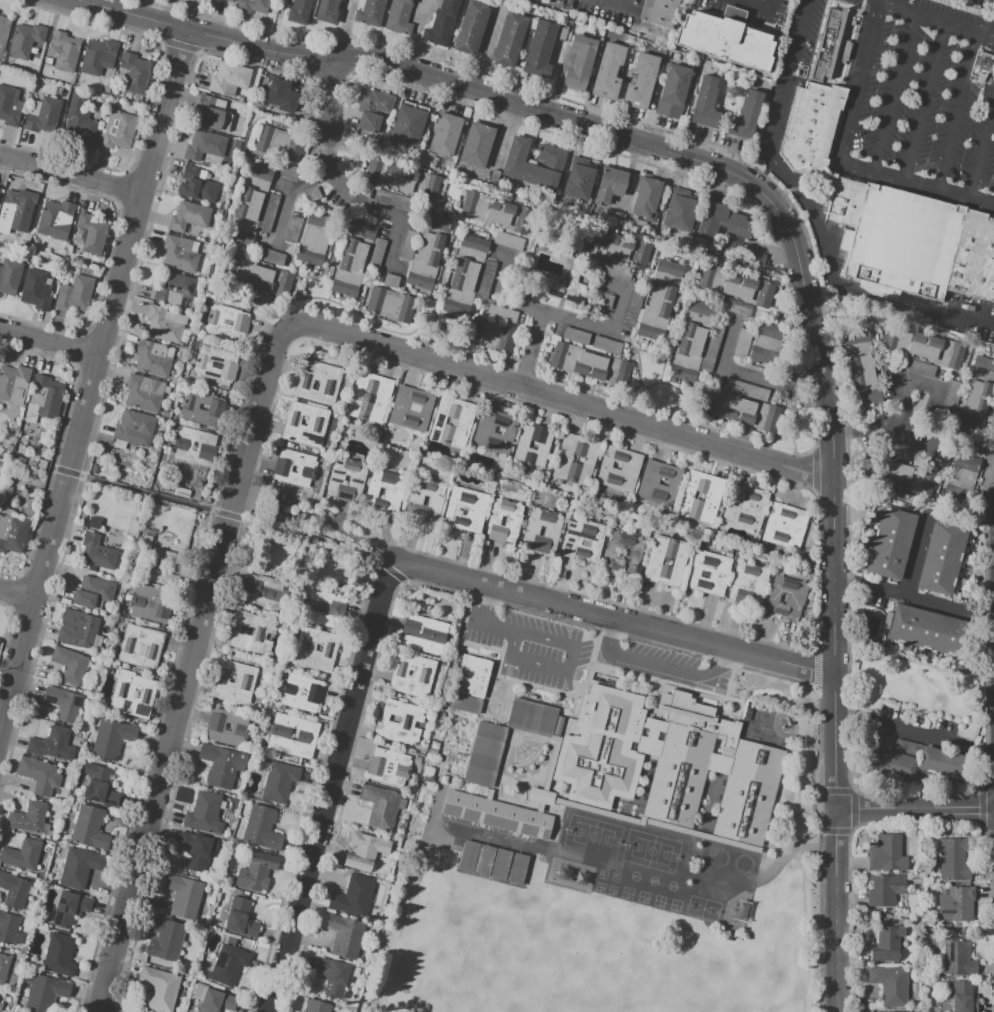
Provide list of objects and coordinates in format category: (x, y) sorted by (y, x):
building: (229, 0)
building: (340, 0)
road: (981, 4)
building: (255, 5)
road: (618, 6)
road: (757, 7)
building: (298, 10)
building: (326, 11)
building: (369, 12)
building: (658, 12)
road: (940, 15)
building: (399, 16)
building: (442, 23)
building: (470, 28)
building: (3, 30)
building: (725, 39)
building: (25, 40)
building: (509, 40)
road: (802, 40)
building: (837, 43)
building: (539, 49)
building: (63, 51)
road: (421, 52)
building: (98, 56)
building: (580, 62)
building: (984, 66)
road: (402, 67)
building: (608, 71)
building: (135, 72)
building: (229, 77)
building: (640, 81)
road: (894, 89)
building: (673, 91)
road: (336, 94)
building: (281, 96)
road: (927, 99)
building: (705, 102)
building: (10, 106)
building: (373, 108)
road: (958, 108)
building: (213, 114)
building: (43, 116)
building: (746, 116)
building: (79, 123)
building: (407, 125)
building: (117, 130)
building: (445, 135)
road: (987, 137)
building: (265, 139)
building: (477, 144)
building: (205, 146)
building: (294, 149)
road: (332, 156)
road: (841, 158)
building: (534, 165)
road: (767, 168)
road: (71, 173)
road: (766, 178)
building: (401, 180)
building: (578, 182)
building: (610, 184)
building: (197, 185)
road: (788, 188)
road: (344, 191)
building: (647, 198)
building: (249, 204)
building: (15, 212)
building: (268, 213)
building: (678, 213)
building: (497, 214)
building: (54, 216)
building: (189, 216)
building: (889, 218)
building: (722, 223)
building: (91, 233)
building: (318, 240)
building: (474, 243)
building: (408, 244)
building: (616, 247)
building: (430, 252)
building: (375, 253)
building: (179, 254)
building: (270, 256)
road: (826, 256)
building: (753, 257)
building: (352, 259)
building: (669, 268)
building: (10, 276)
building: (256, 278)
building: (391, 280)
building: (462, 285)
building: (737, 287)
building: (35, 290)
building: (175, 290)
building: (569, 292)
building: (75, 294)
building: (384, 303)
building: (658, 307)
building: (734, 307)
building: (501, 313)
road: (556, 315)
building: (163, 324)
building: (228, 324)
building: (491, 334)
building: (576, 336)
building: (691, 337)
building: (856, 339)
road: (49, 342)
building: (606, 345)
building: (769, 346)
building: (922, 347)
road: (533, 350)
building: (152, 358)
building: (216, 363)
building: (588, 364)
building: (983, 364)
building: (919, 367)
road: (751, 376)
building: (864, 380)
road: (909, 381)
road: (90, 383)
building: (14, 384)
building: (327, 385)
building: (746, 389)
building: (143, 392)
building: (45, 396)
building: (369, 397)
building: (977, 397)
road: (565, 401)
building: (201, 408)
building: (411, 408)
building: (740, 410)
building: (303, 421)
building: (317, 421)
building: (452, 422)
building: (134, 428)
road: (882, 429)
building: (484, 430)
building: (195, 446)
building: (522, 446)
building: (563, 460)
building: (282, 468)
building: (630, 468)
building: (961, 475)
building: (909, 480)
building: (356, 481)
building: (658, 483)
building: (387, 491)
building: (712, 496)
building: (425, 499)
building: (424, 503)
building: (745, 507)
building: (461, 510)
building: (475, 511)
road: (231, 515)
building: (504, 520)
power tower: (317, 522)
building: (94, 523)
building: (785, 526)
building: (541, 531)
building: (551, 531)
building: (12, 533)
building: (571, 540)
building: (891, 543)
building: (96, 552)
building: (622, 552)
power tower: (307, 559)
building: (942, 559)
building: (665, 561)
building: (159, 566)
building: (718, 574)
road: (835, 575)
building: (738, 585)
road: (893, 591)
road: (17, 592)
building: (92, 592)
building: (261, 592)
building: (786, 596)
building: (151, 604)
building: (323, 609)
road: (615, 618)
road: (477, 622)
building: (77, 628)
building: (927, 630)
building: (252, 633)
building: (423, 634)
building: (139, 646)
parking lot: (526, 646)
building: (315, 650)
building: (69, 664)
road: (565, 664)
road: (193, 667)
road: (656, 668)
building: (422, 675)
building: (233, 682)
building: (471, 684)
building: (301, 692)
building: (131, 694)
building: (290, 694)
building: (63, 703)
building: (531, 717)
building: (400, 721)
road: (891, 726)
building: (239, 727)
building: (292, 735)
building: (111, 738)
building: (52, 744)
building: (434, 745)
building: (432, 752)
building: (485, 754)
road: (851, 754)
building: (891, 758)
building: (415, 759)
building: (667, 763)
building: (938, 763)
building: (221, 765)
building: (387, 766)
building: (429, 771)
building: (39, 775)
building: (278, 781)
building: (99, 785)
road: (333, 787)
building: (379, 806)
road: (915, 806)
building: (204, 813)
building: (496, 814)
building: (29, 818)
building: (89, 828)
building: (261, 828)
building: (195, 850)
building: (365, 851)
building: (886, 853)
building: (22, 855)
building: (737, 860)
building: (953, 860)
building: (79, 867)
building: (256, 871)
building: (884, 889)
building: (13, 890)
building: (183, 896)
building: (352, 896)
building: (956, 904)
building: (69, 908)
building: (241, 918)
building: (8, 927)
building: (344, 935)
building: (166, 940)
building: (887, 944)
building: (58, 955)
building: (957, 957)
building: (228, 964)
building: (5, 969)
building: (334, 975)
building: (889, 984)
building: (160, 988)
building: (46, 993)
building: (963, 997)
building: (1, 998)
building: (216, 1001)
building: (316, 1006)
building: (881, 1011)

